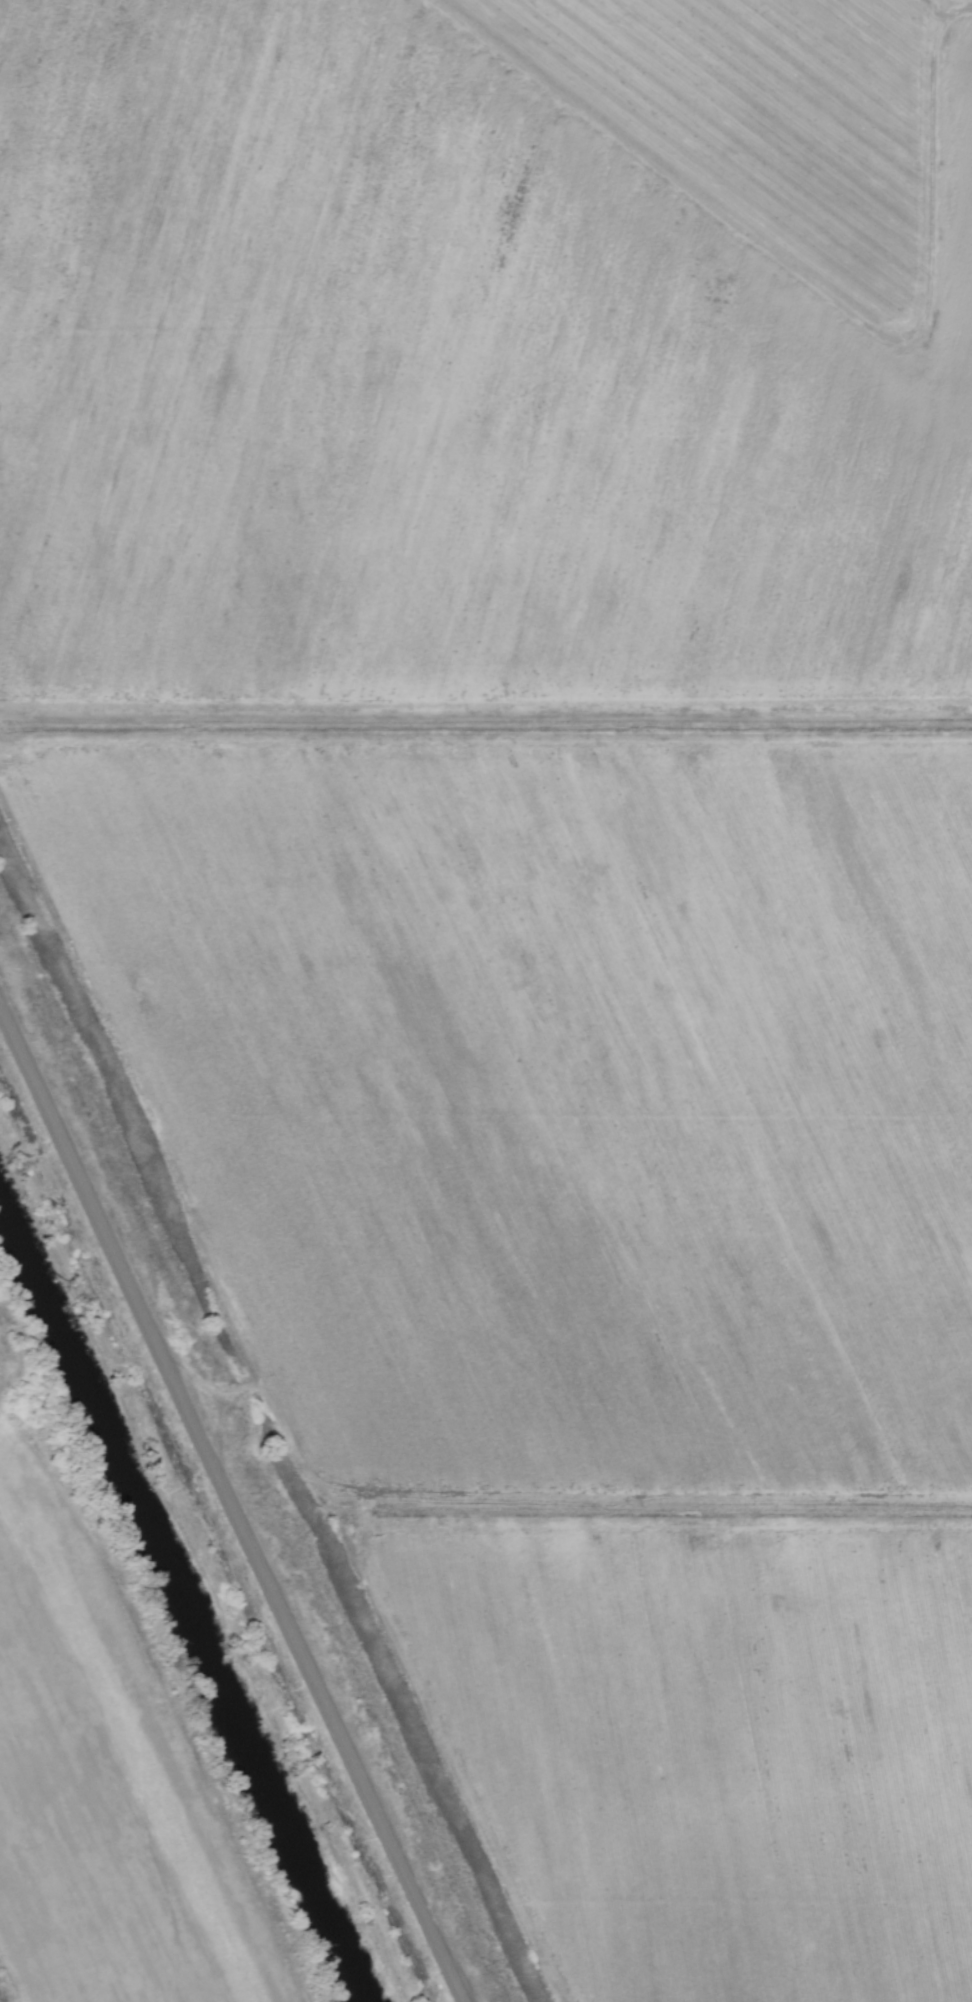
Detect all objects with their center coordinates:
road: (932, 375)
crop: (548, 871)
road: (233, 1506)
crop: (106, 1791)

